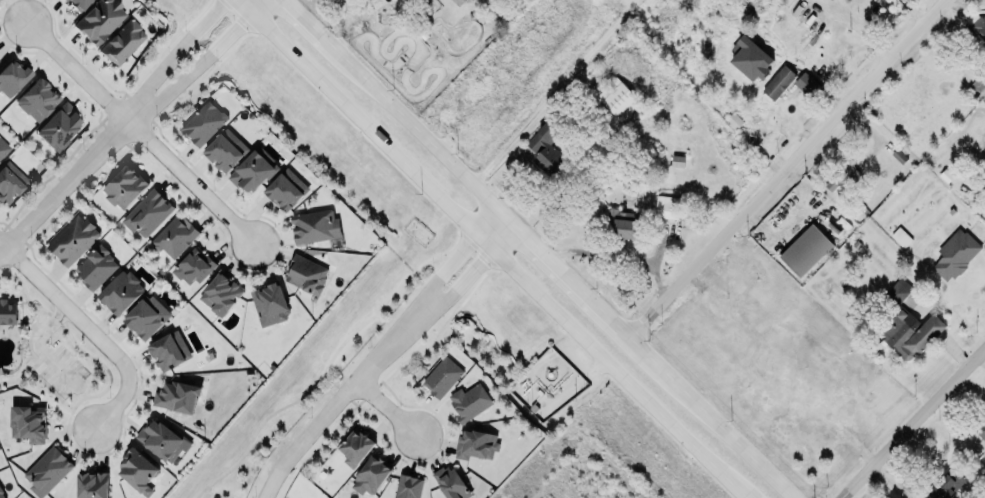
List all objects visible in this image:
building: (79, 3)
building: (99, 20)
building: (980, 26)
road: (856, 29)
building: (123, 40)
building: (749, 56)
road: (173, 57)
building: (0, 59)
road: (198, 66)
building: (12, 77)
building: (778, 83)
building: (808, 86)
building: (38, 98)
building: (618, 99)
building: (204, 121)
building: (59, 125)
road: (138, 132)
building: (4, 146)
building: (545, 148)
building: (226, 149)
building: (254, 169)
road: (784, 171)
building: (840, 178)
building: (10, 180)
road: (63, 186)
building: (124, 187)
building: (287, 188)
building: (666, 207)
building: (147, 213)
building: (622, 224)
building: (315, 225)
building: (176, 235)
building: (73, 240)
road: (488, 251)
building: (805, 251)
road: (534, 252)
building: (955, 255)
road: (452, 261)
building: (96, 266)
building: (193, 267)
building: (307, 273)
road: (468, 276)
building: (899, 290)
building: (121, 292)
building: (220, 292)
building: (270, 303)
building: (8, 313)
building: (146, 317)
road: (89, 331)
building: (910, 334)
building: (169, 350)
road: (982, 361)
building: (441, 377)
building: (178, 395)
road: (337, 402)
building: (469, 402)
road: (386, 409)
building: (29, 423)
road: (913, 425)
building: (981, 429)
building: (162, 441)
building: (475, 445)
building: (356, 446)
building: (47, 471)
building: (139, 471)
building: (372, 475)
building: (454, 484)
building: (93, 485)
building: (946, 485)
building: (409, 486)
building: (2, 492)

